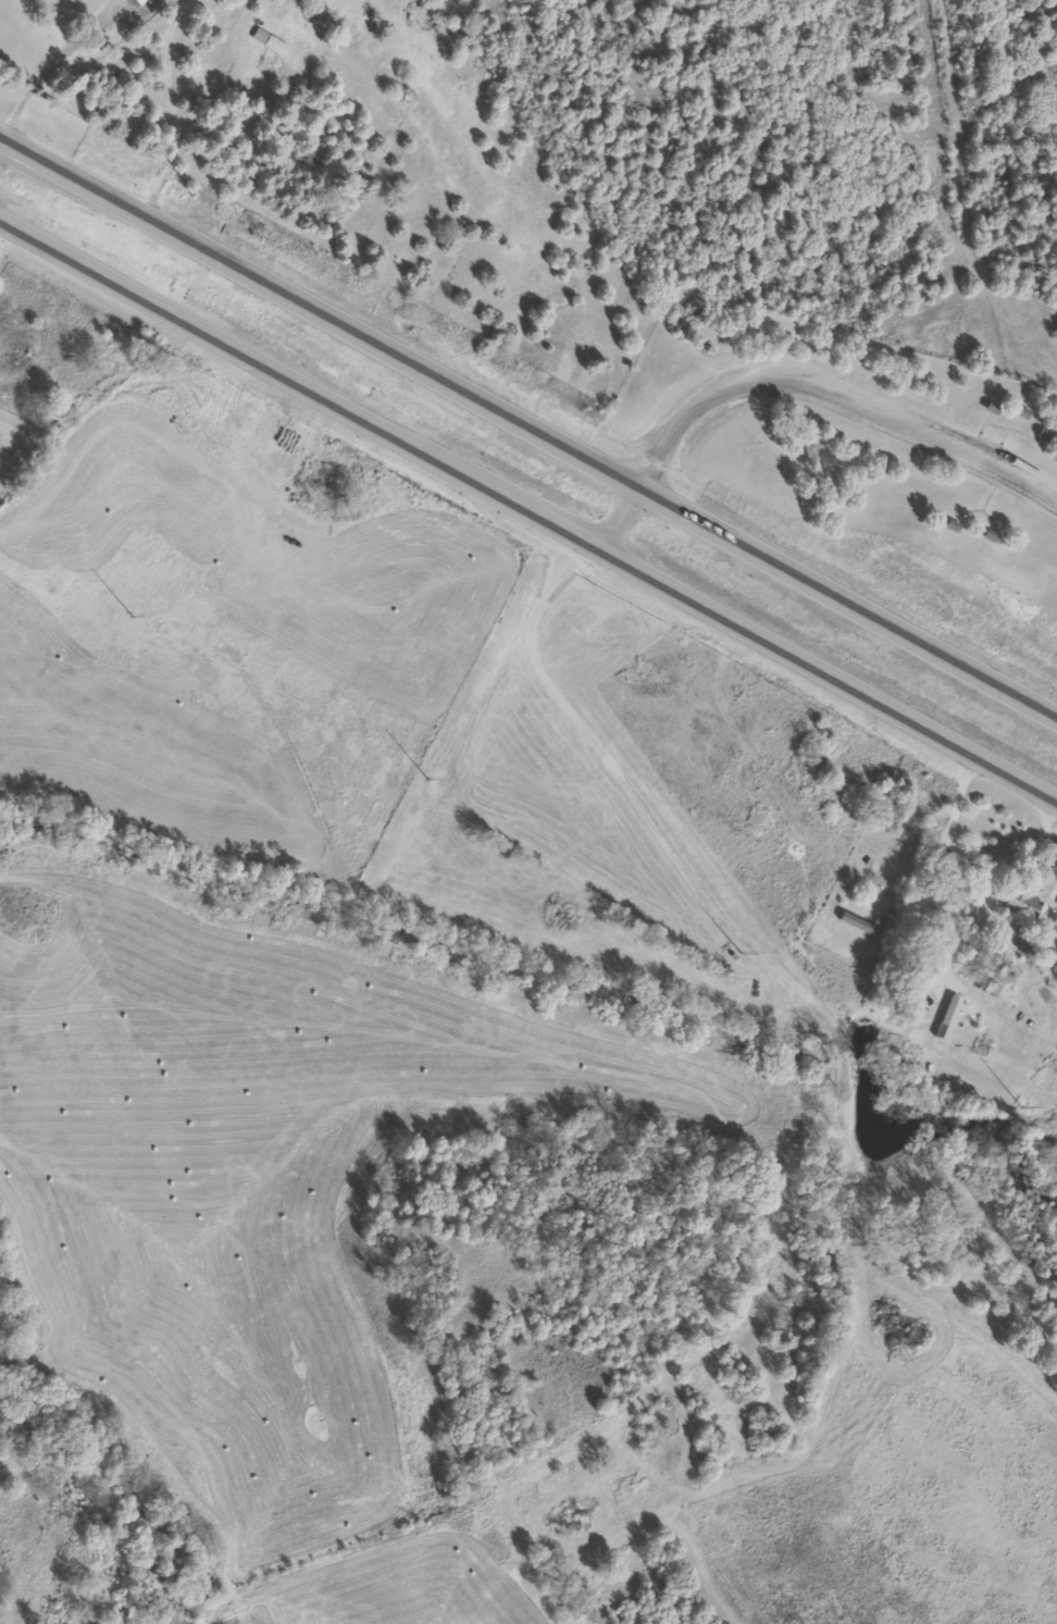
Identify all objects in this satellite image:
building: (113, 2)
road: (46, 74)
road: (830, 390)
building: (1018, 412)
road: (527, 435)
road: (526, 518)
road: (613, 523)
building: (1020, 904)
building: (855, 923)

